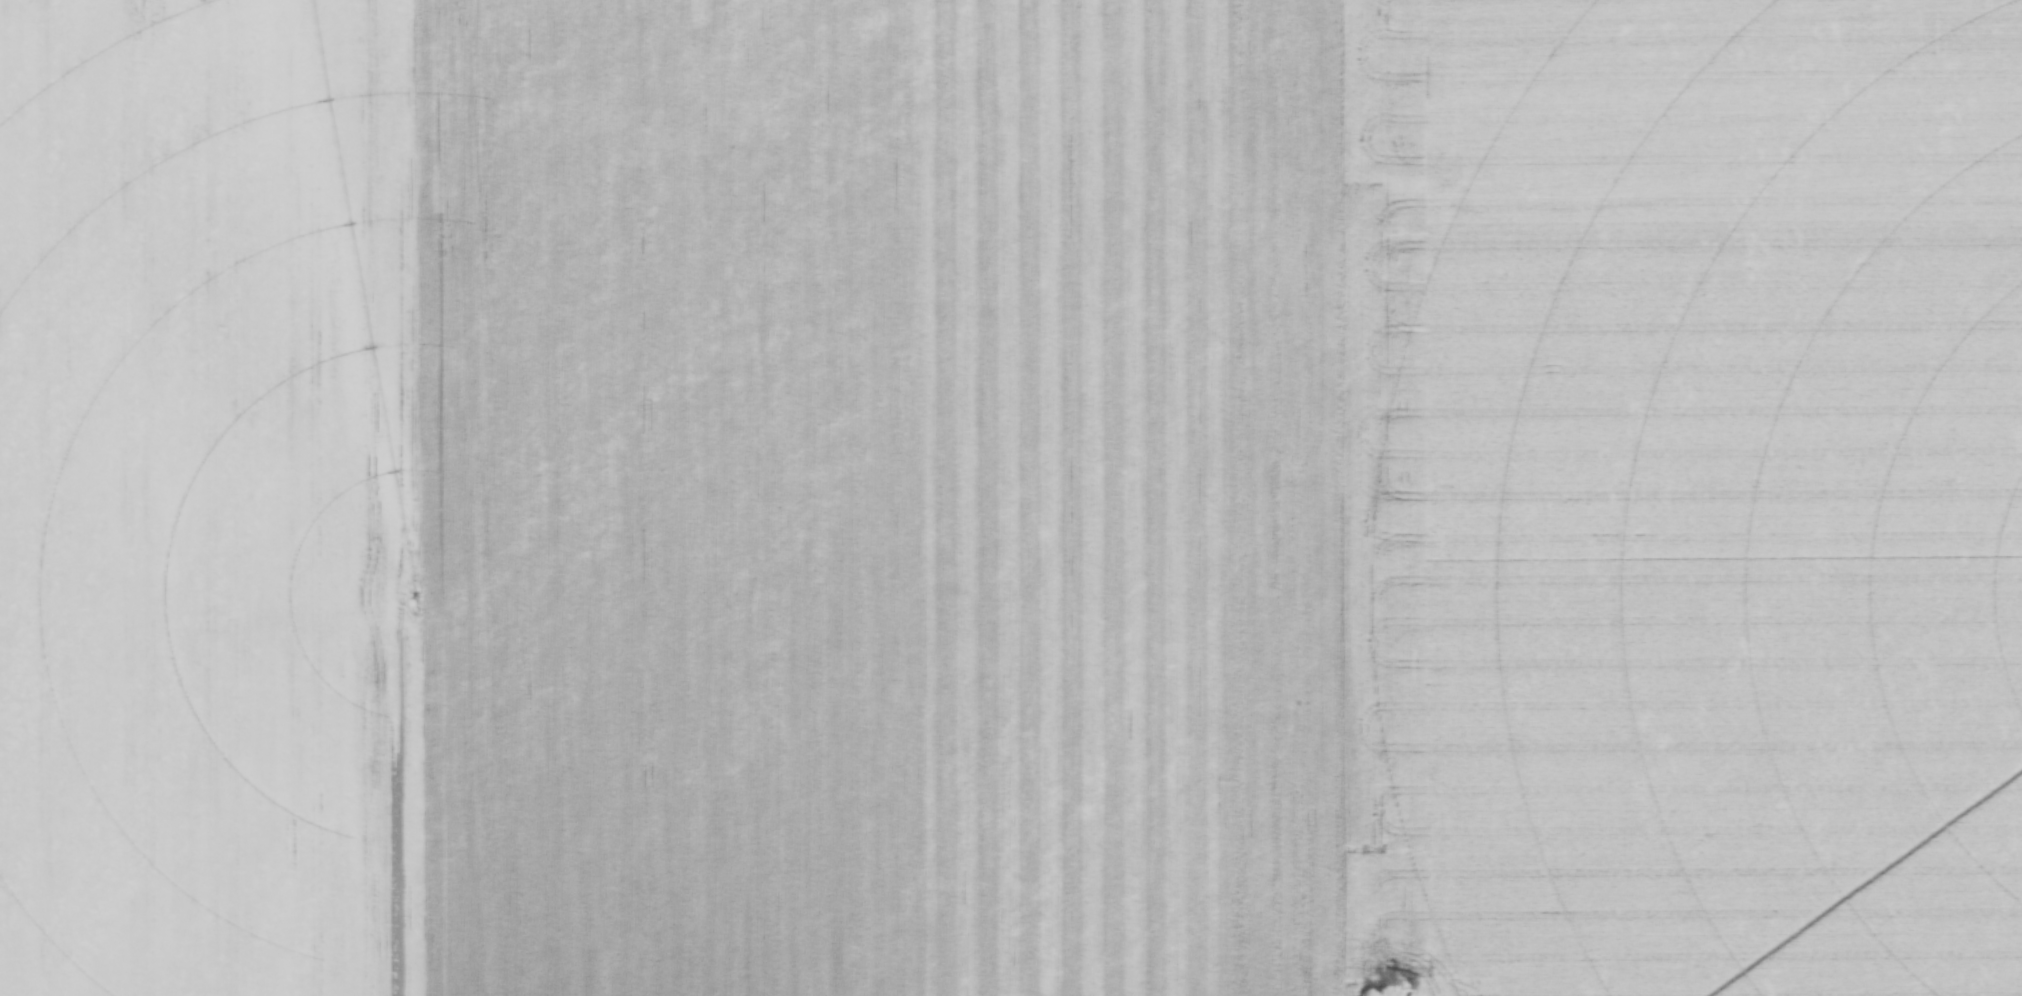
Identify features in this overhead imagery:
crop: (669, 497)

